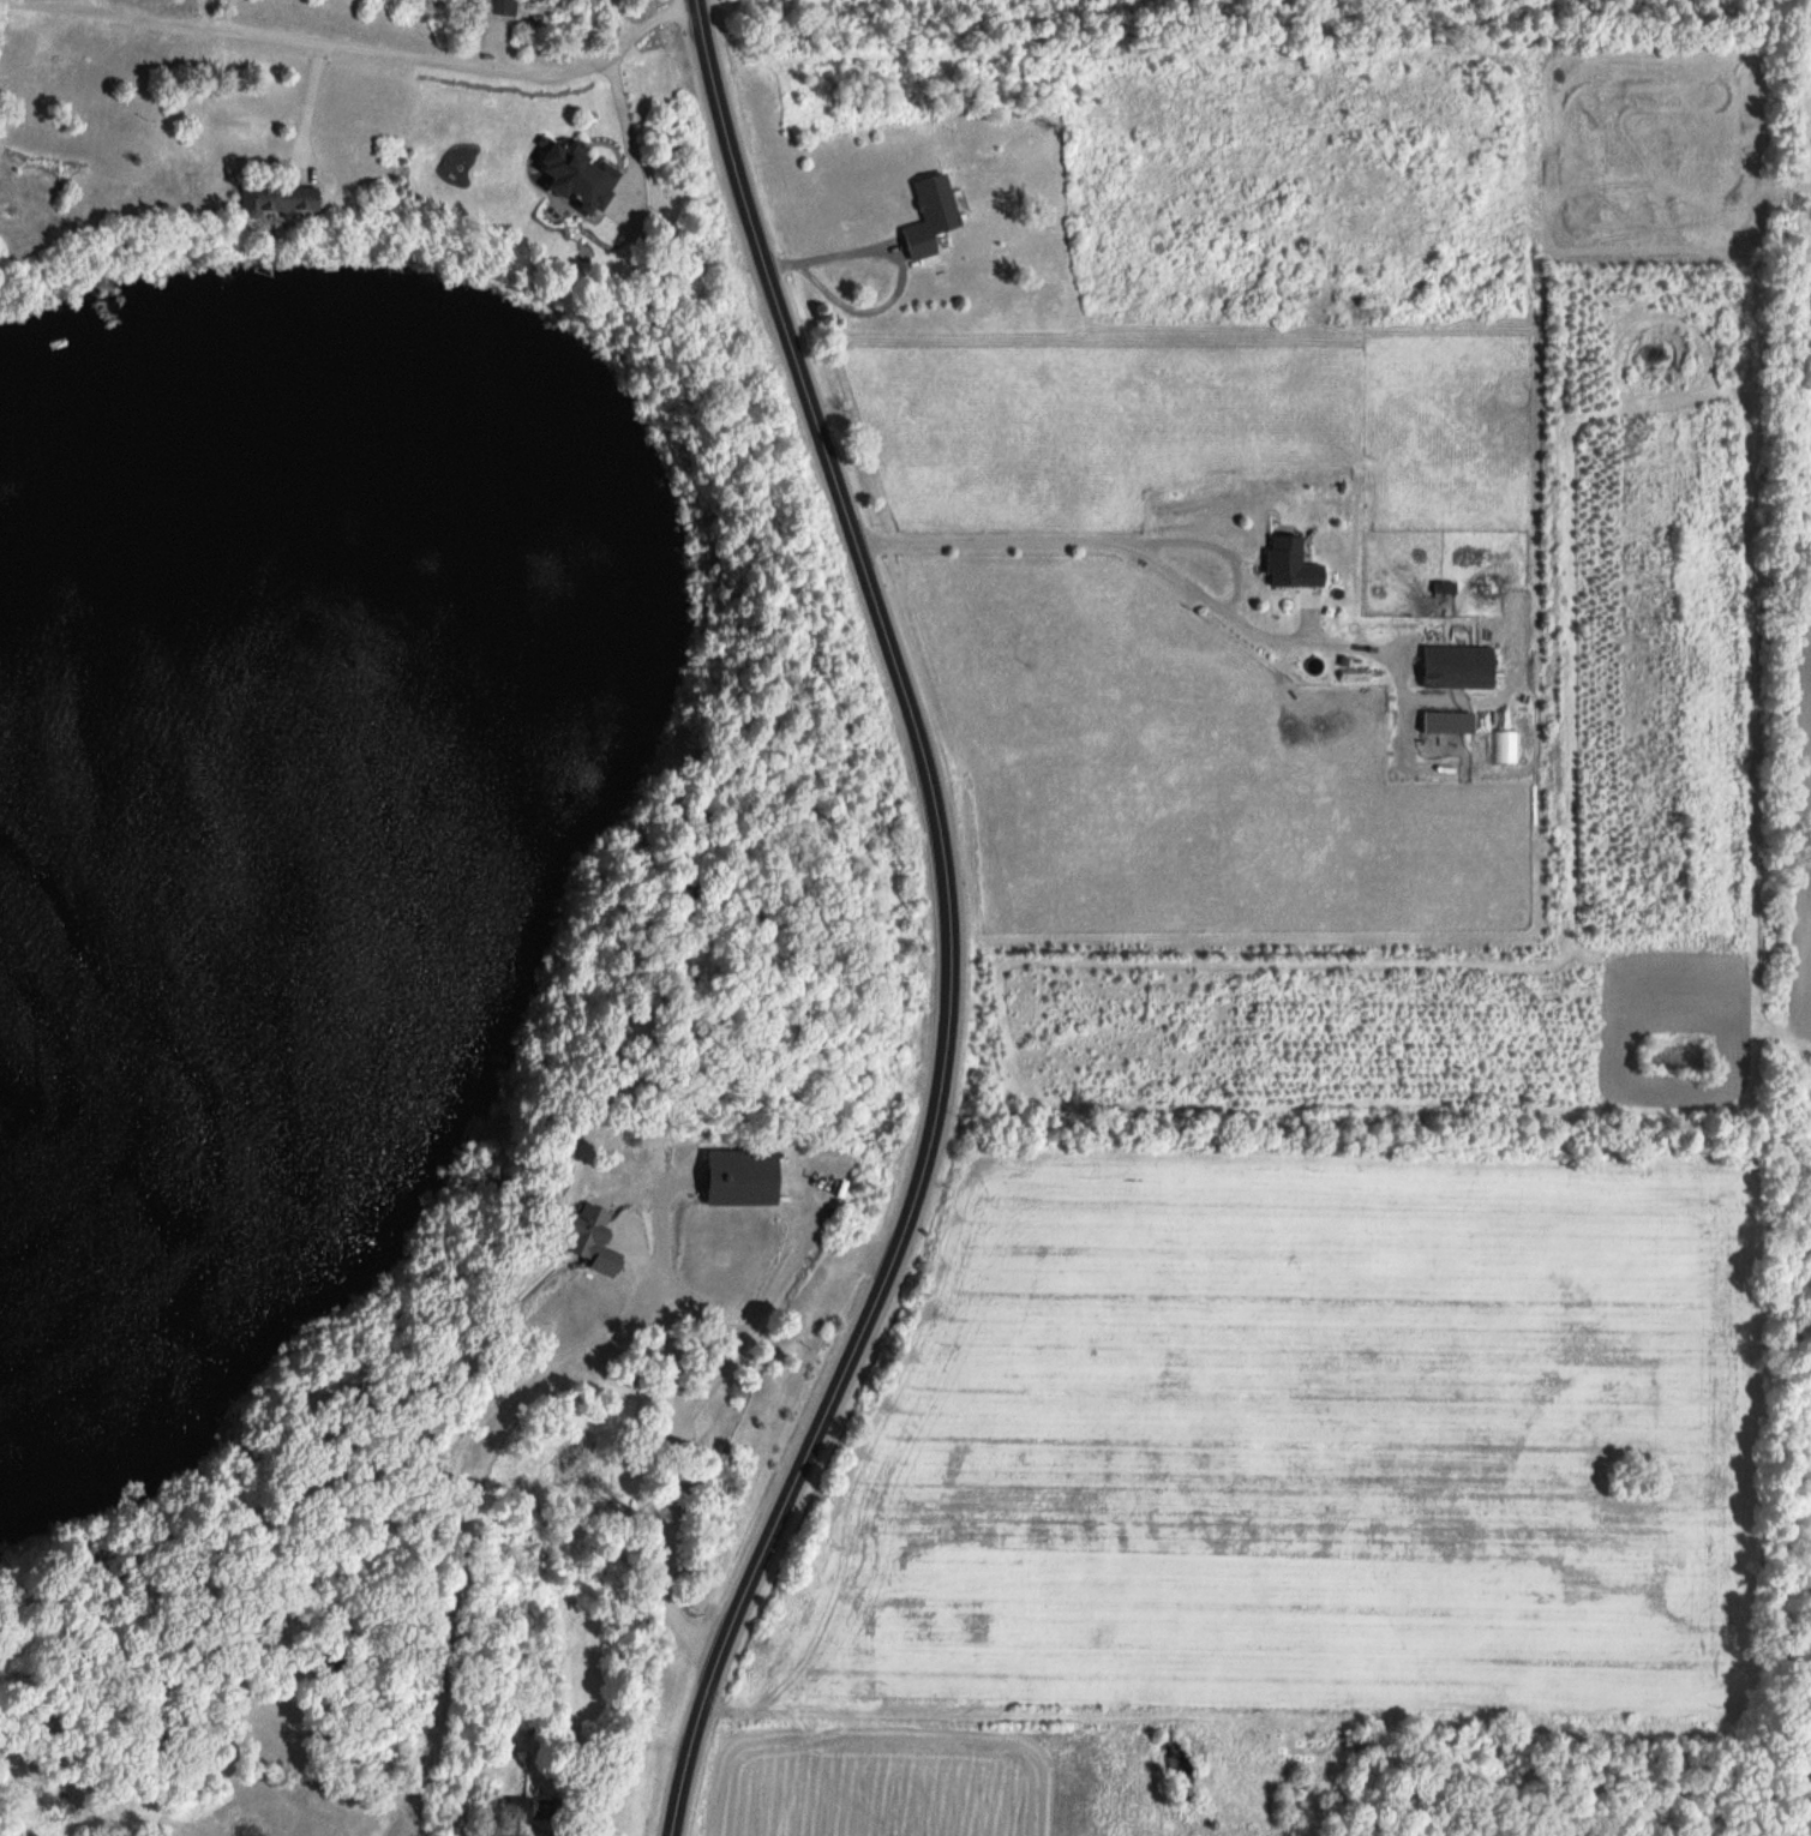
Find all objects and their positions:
building: (498, 7)
road: (101, 13)
road: (457, 64)
road: (629, 132)
building: (575, 178)
building: (274, 199)
building: (928, 217)
road: (901, 269)
road: (1132, 541)
building: (1287, 563)
road: (1308, 642)
building: (1455, 667)
road: (952, 924)
building: (737, 1177)
building: (587, 1237)
road: (764, 1304)
road: (670, 1460)
building: (520, 1808)

